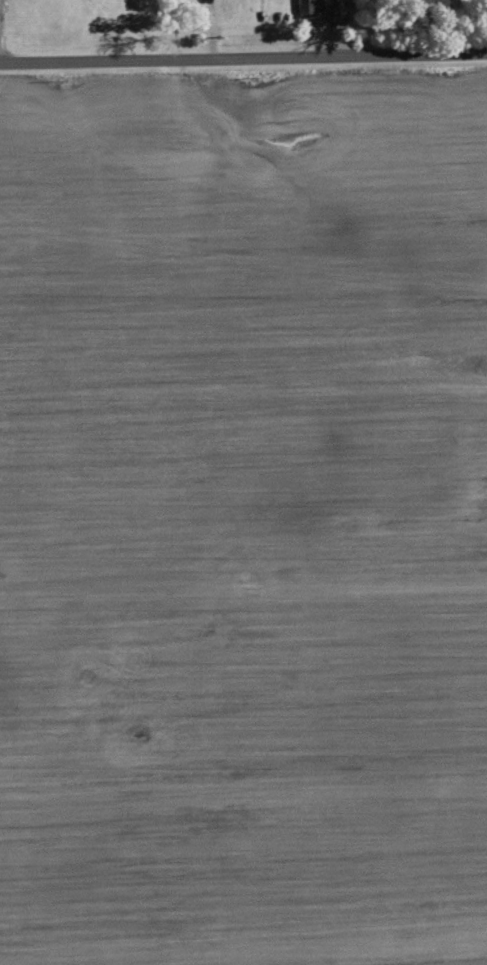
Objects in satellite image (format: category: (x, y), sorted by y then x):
building: (313, 7)
road: (93, 30)
road: (243, 58)

